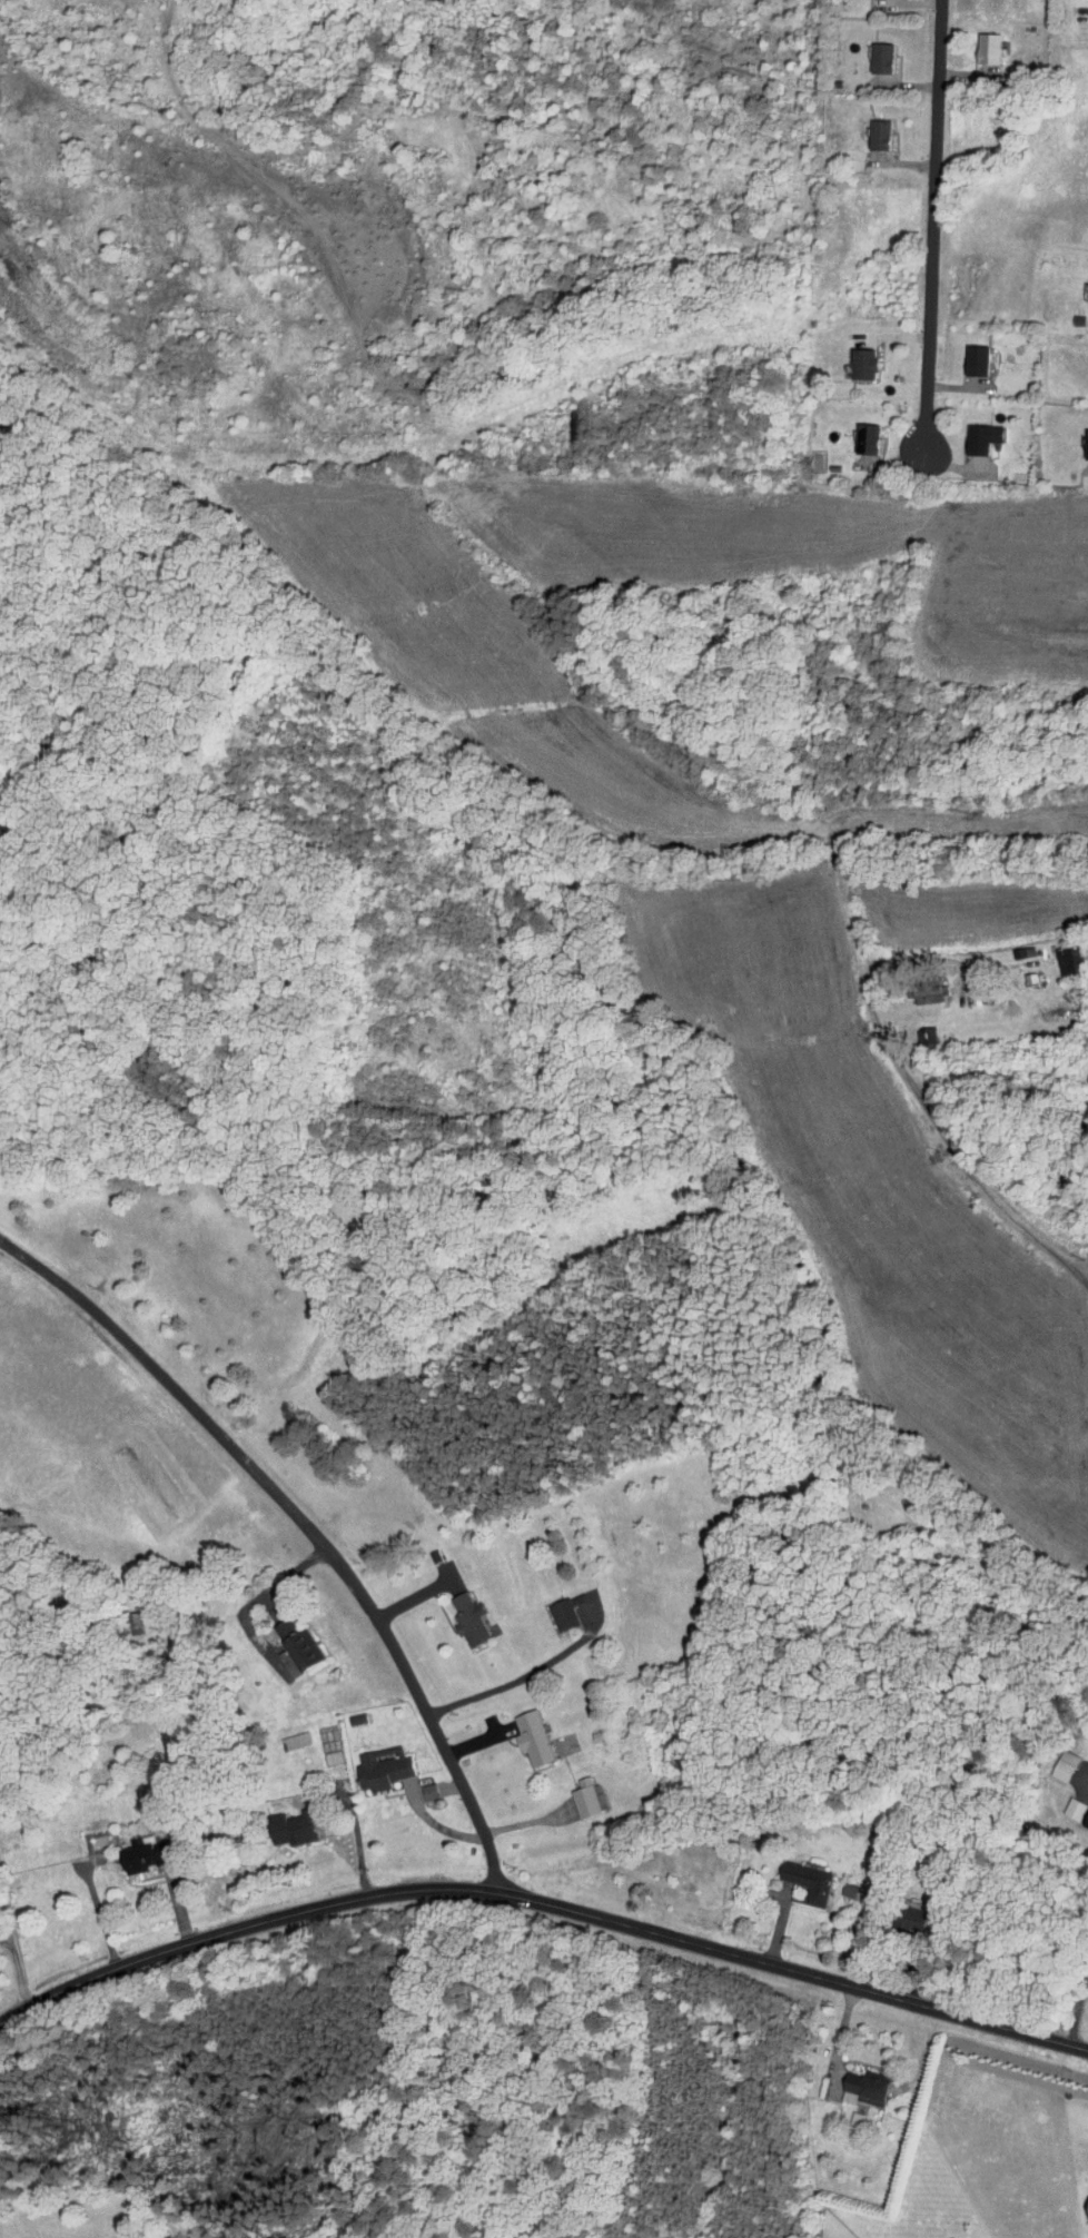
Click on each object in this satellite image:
building: (972, 42)
building: (866, 52)
road: (933, 101)
building: (862, 129)
building: (1086, 287)
road: (928, 329)
building: (970, 353)
building: (855, 356)
building: (977, 430)
building: (860, 432)
building: (1082, 437)
building: (1058, 953)
building: (914, 1029)
road: (924, 1105)
road: (306, 1526)
road: (271, 1586)
building: (554, 1608)
building: (463, 1613)
building: (293, 1638)
road: (520, 1663)
building: (526, 1732)
building: (288, 1734)
building: (375, 1761)
road: (1087, 1788)
building: (577, 1792)
building: (1065, 1802)
building: (1084, 1814)
building: (286, 1821)
building: (137, 1849)
building: (801, 1878)
road: (541, 1901)
road: (99, 1915)
building: (1081, 1957)
road: (17, 1972)
road: (1079, 2003)
road: (840, 2038)
building: (847, 2081)
building: (1078, 2200)
building: (939, 2236)

